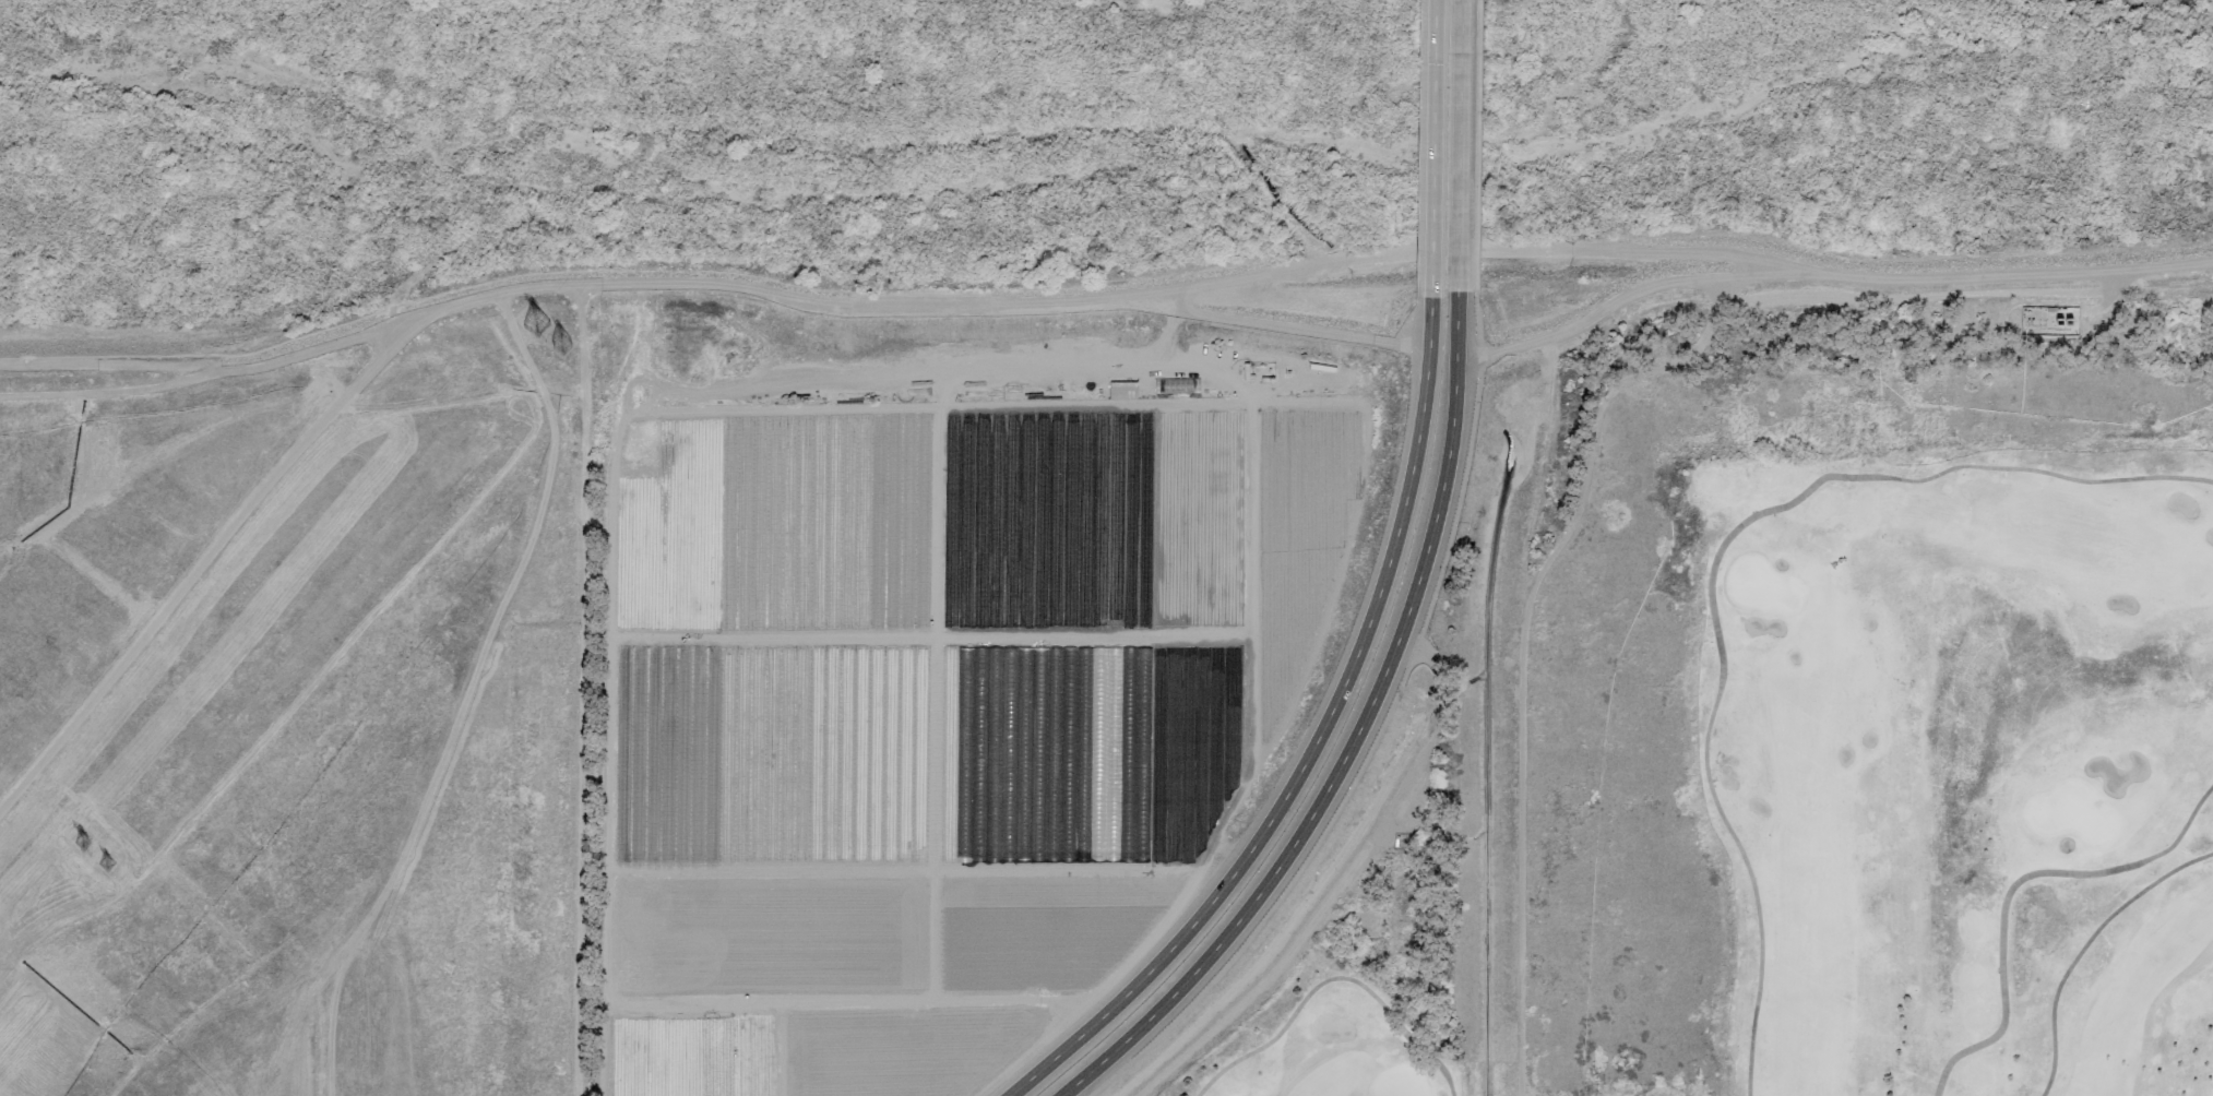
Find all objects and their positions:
road: (1430, 145)
road: (1458, 145)
road: (1825, 274)
power tower: (537, 326)
road: (1477, 326)
power tower: (562, 344)
building: (1122, 390)
road: (2020, 468)
road: (1521, 645)
road: (1431, 662)
road: (1418, 695)
park: (287, 707)
road: (1352, 740)
road: (1312, 743)
road: (1704, 759)
park: (1807, 759)
power tower: (82, 844)
power tower: (104, 863)
road: (2012, 886)
road: (1275, 901)
road: (1312, 918)
road: (2084, 945)
road: (1329, 978)

